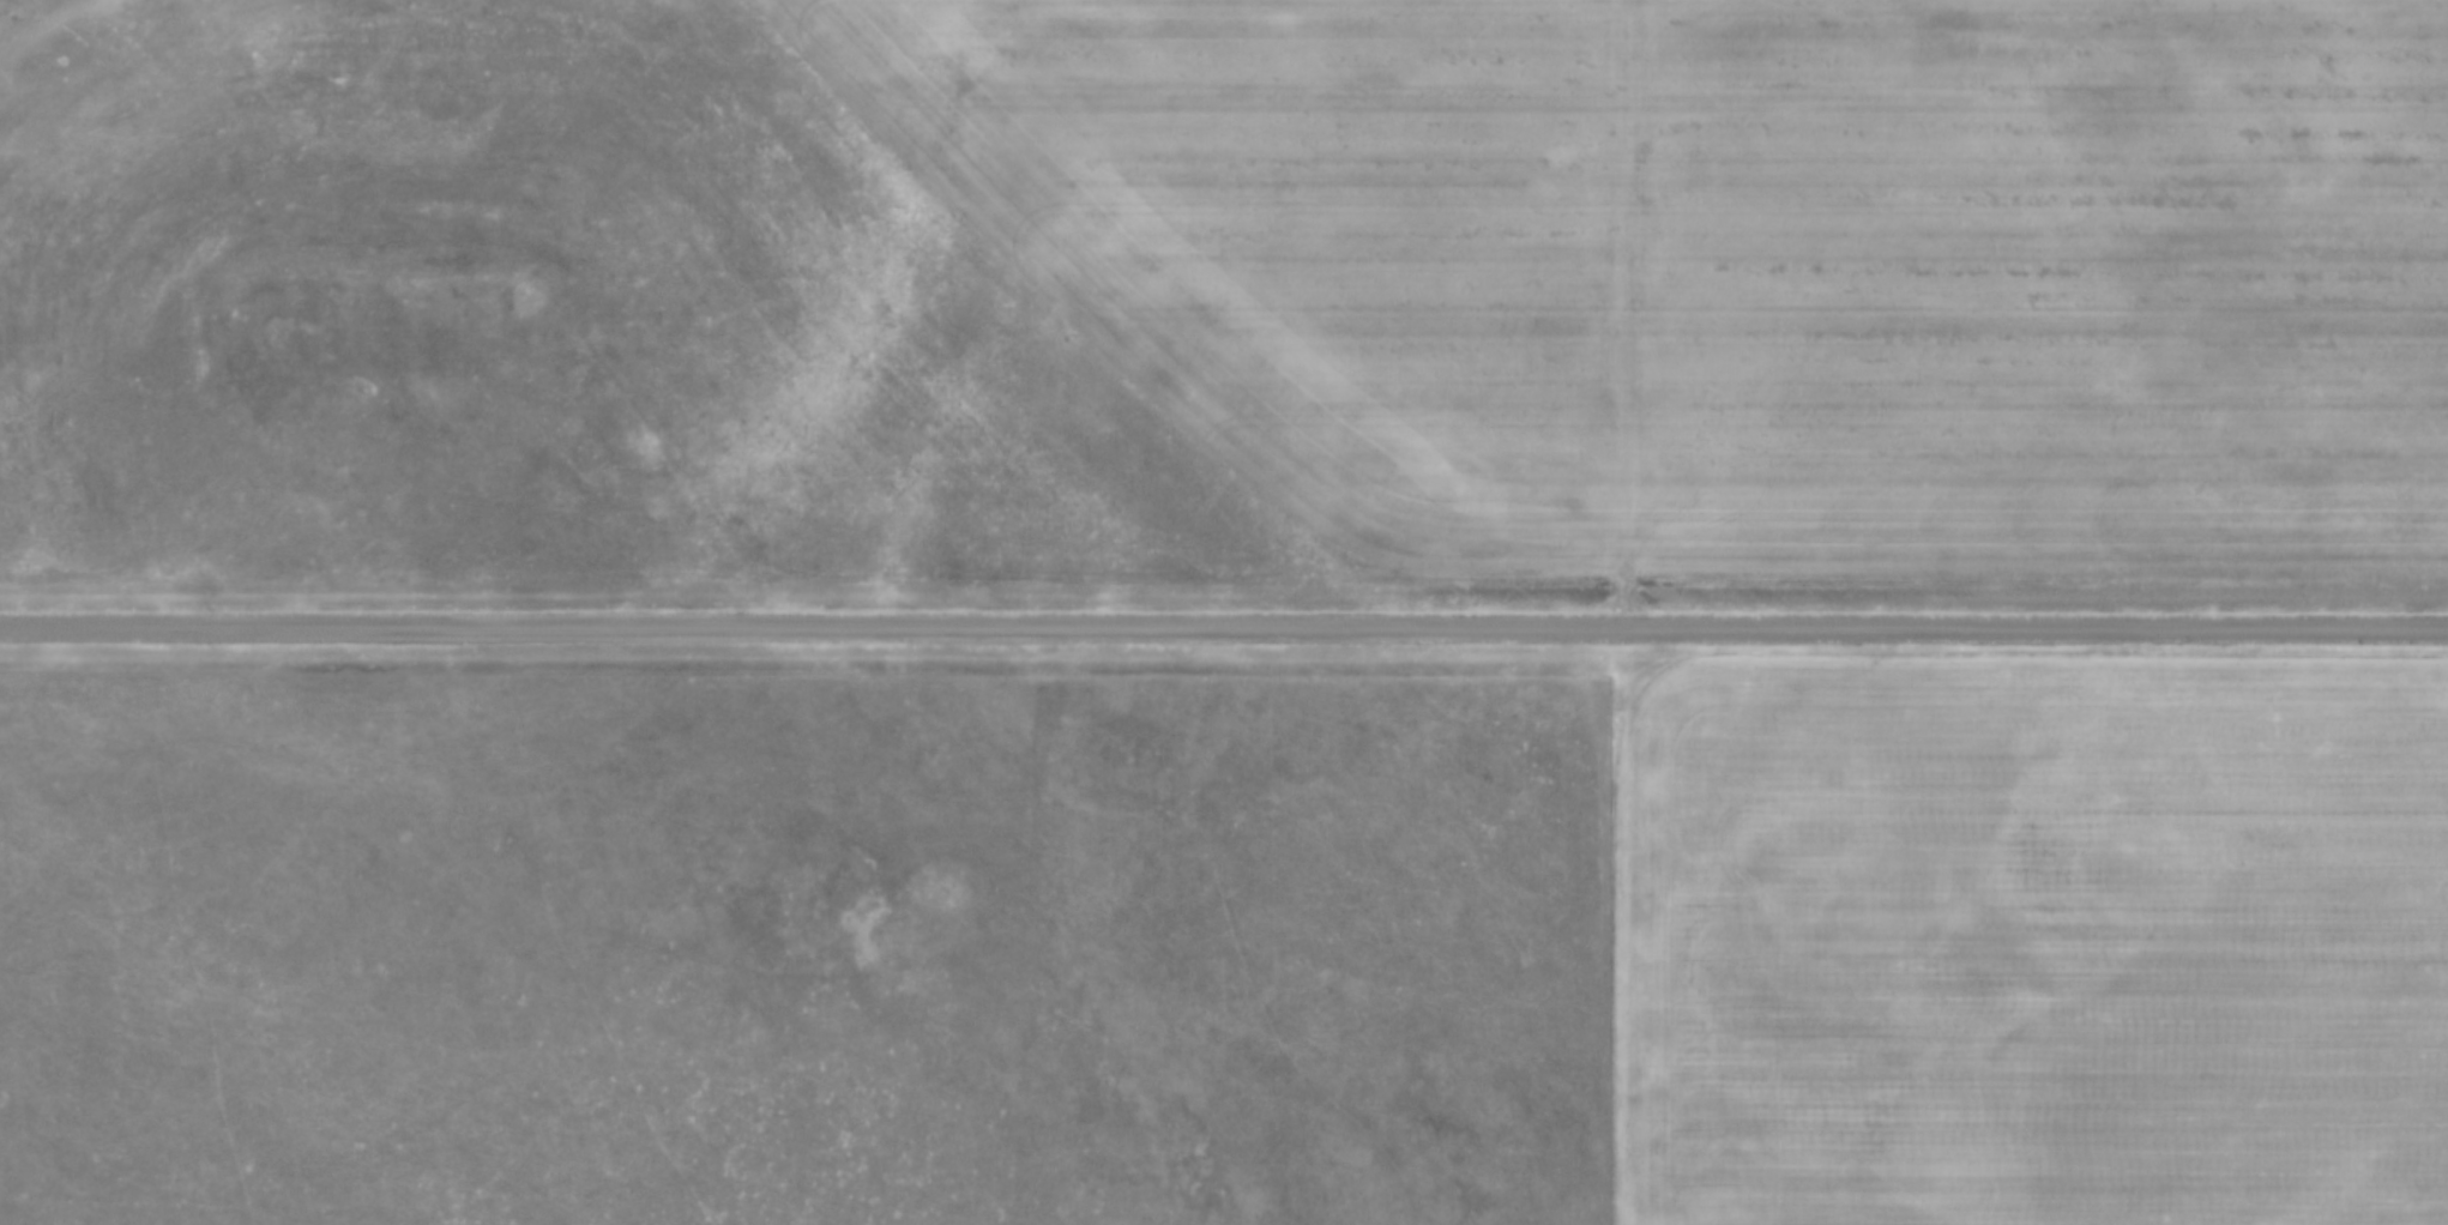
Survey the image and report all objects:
road: (1223, 622)

